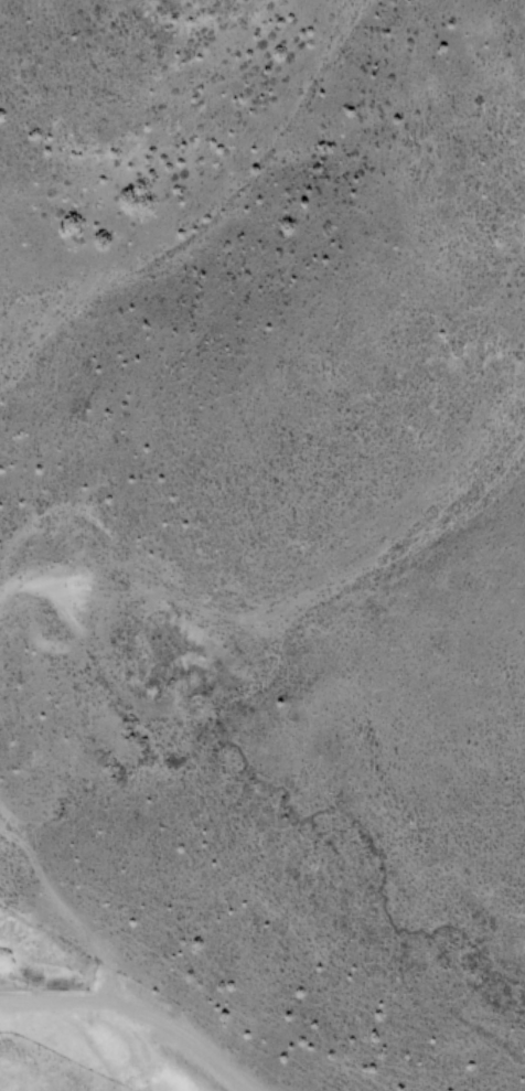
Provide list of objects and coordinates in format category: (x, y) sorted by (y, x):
road: (135, 1018)

